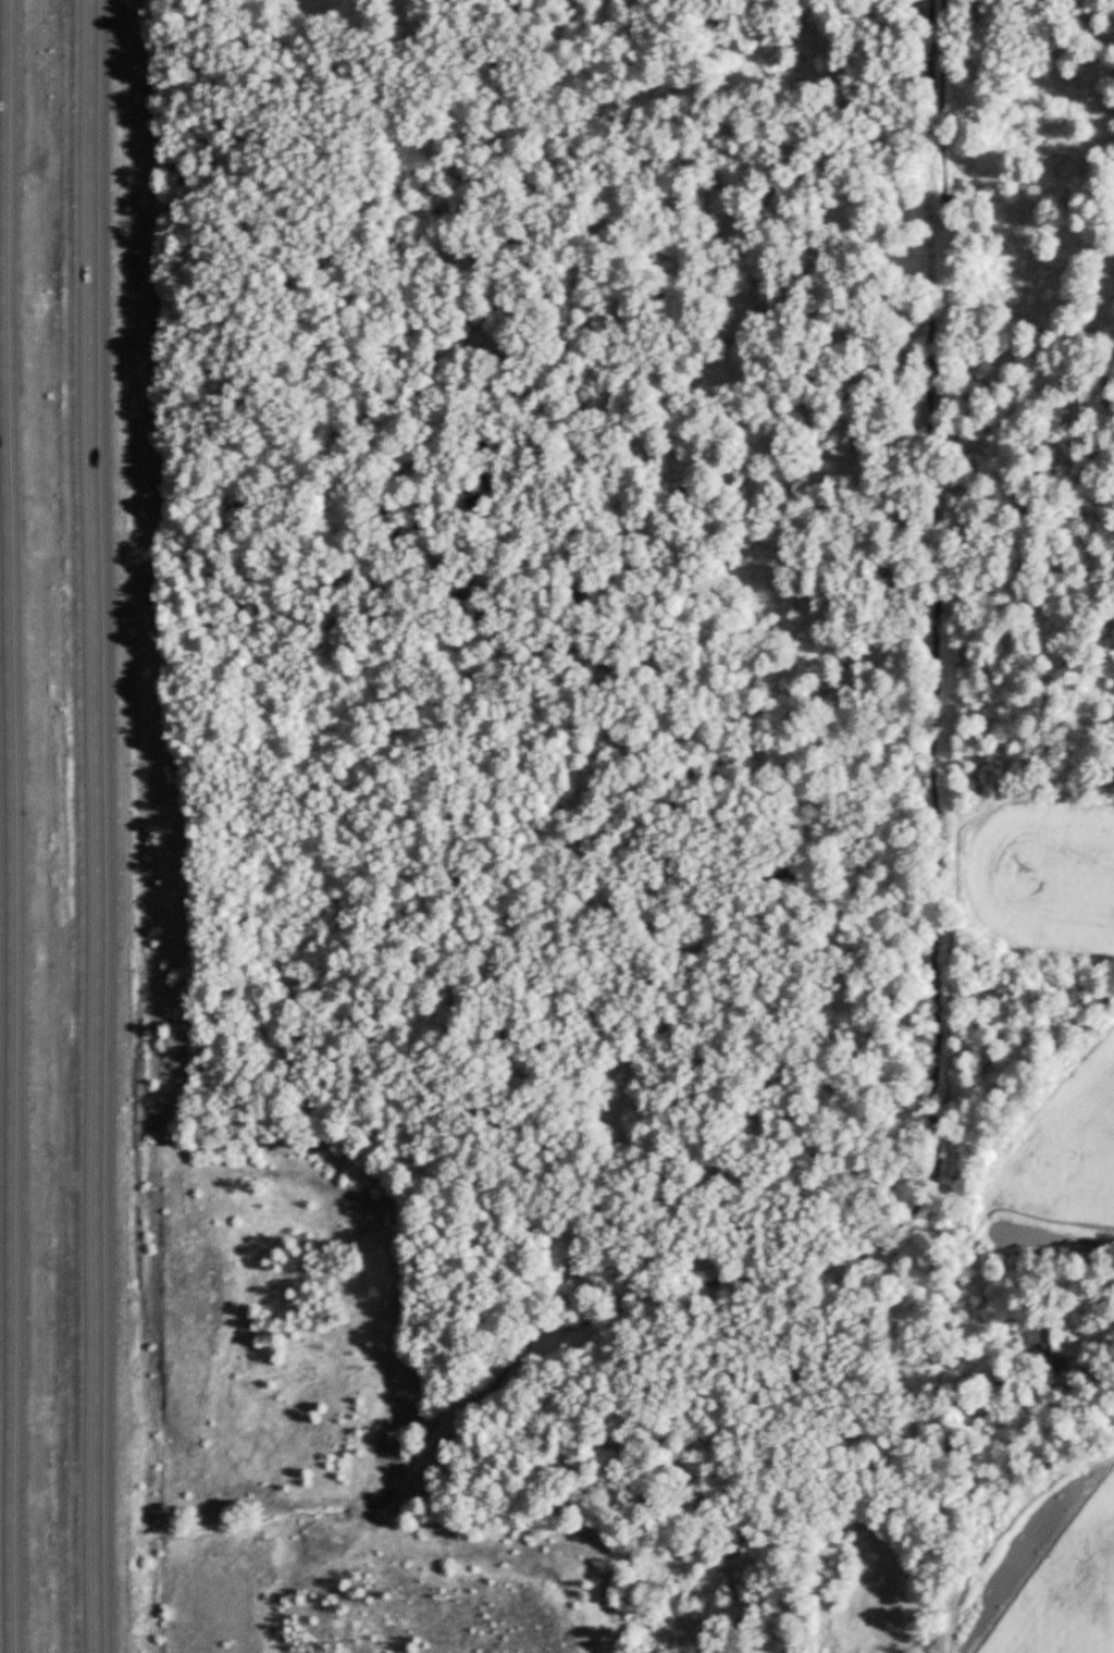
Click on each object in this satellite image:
road: (9, 826)
road: (98, 826)

